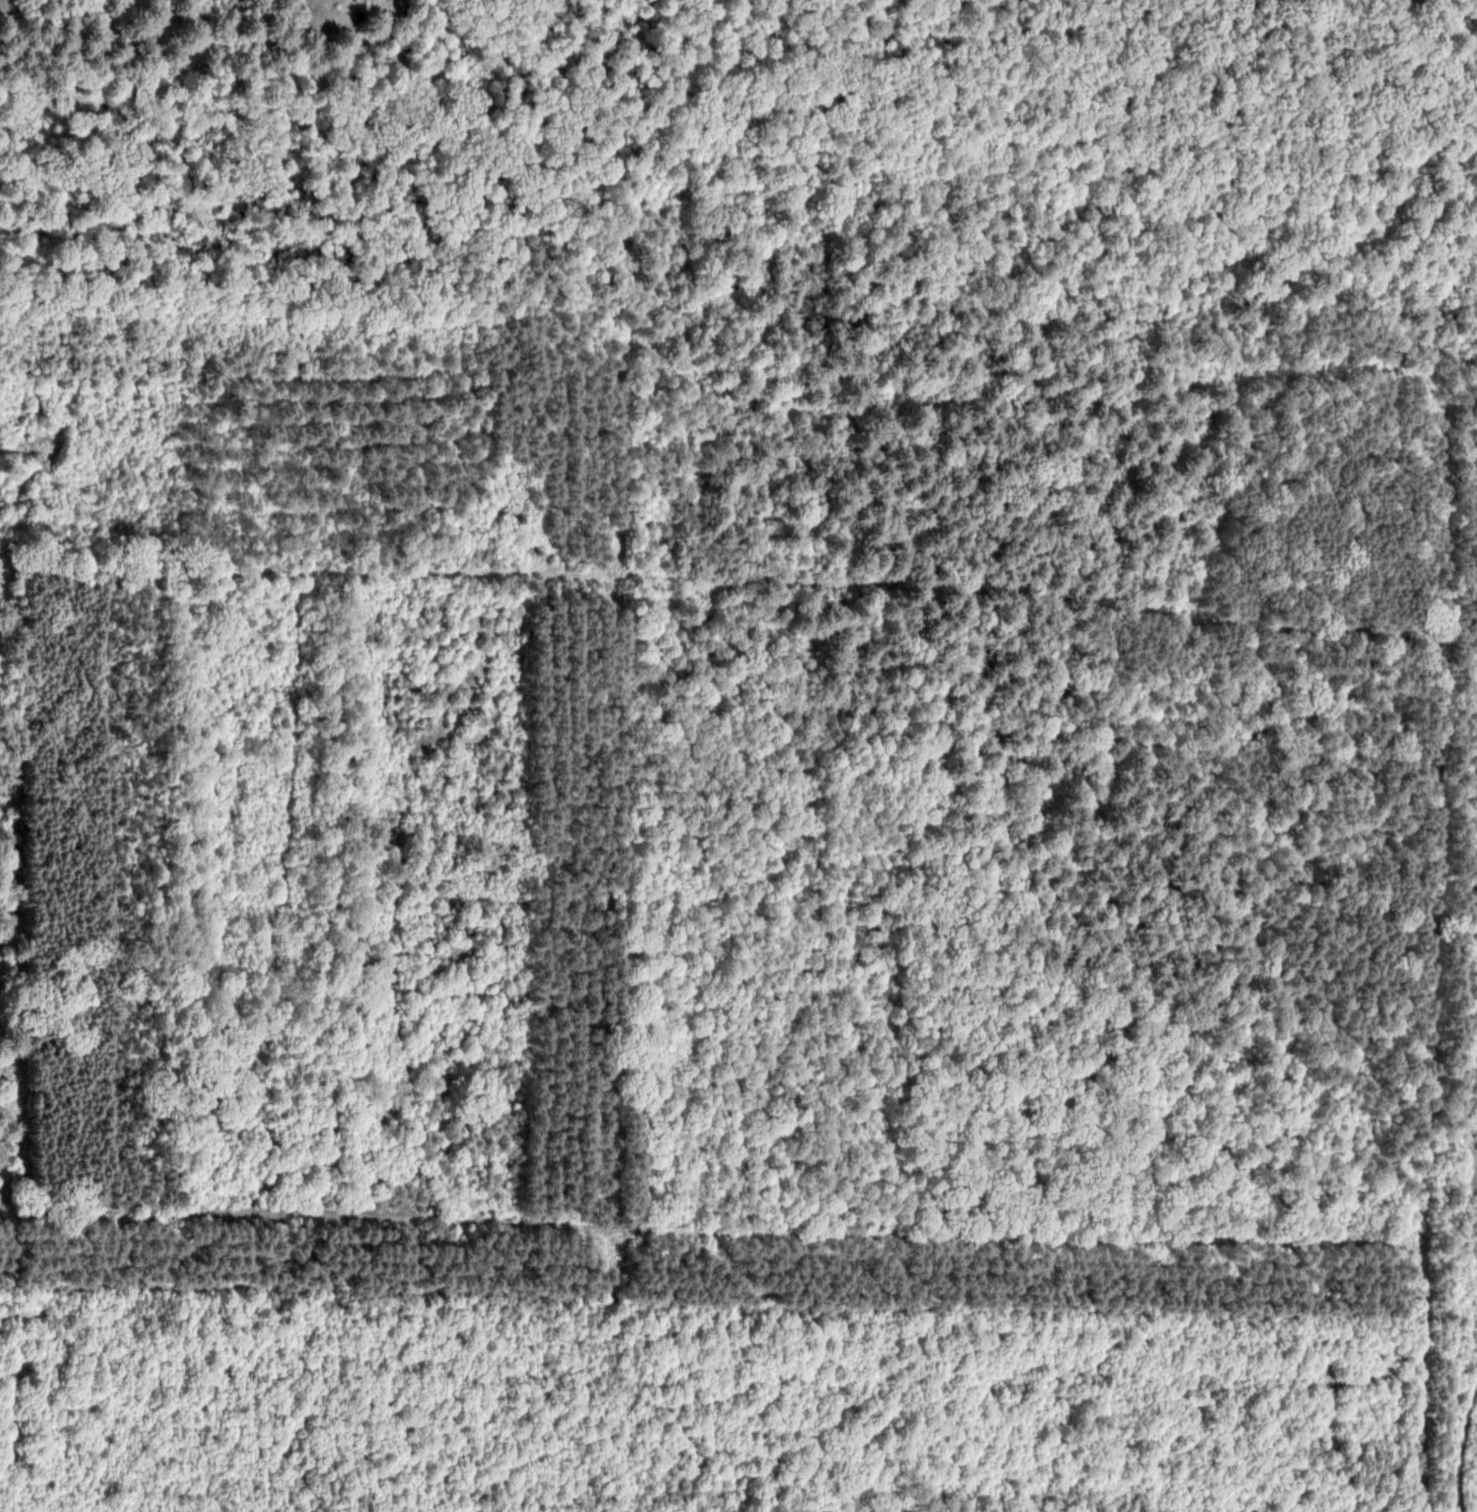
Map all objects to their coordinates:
building: (1475, 1109)

